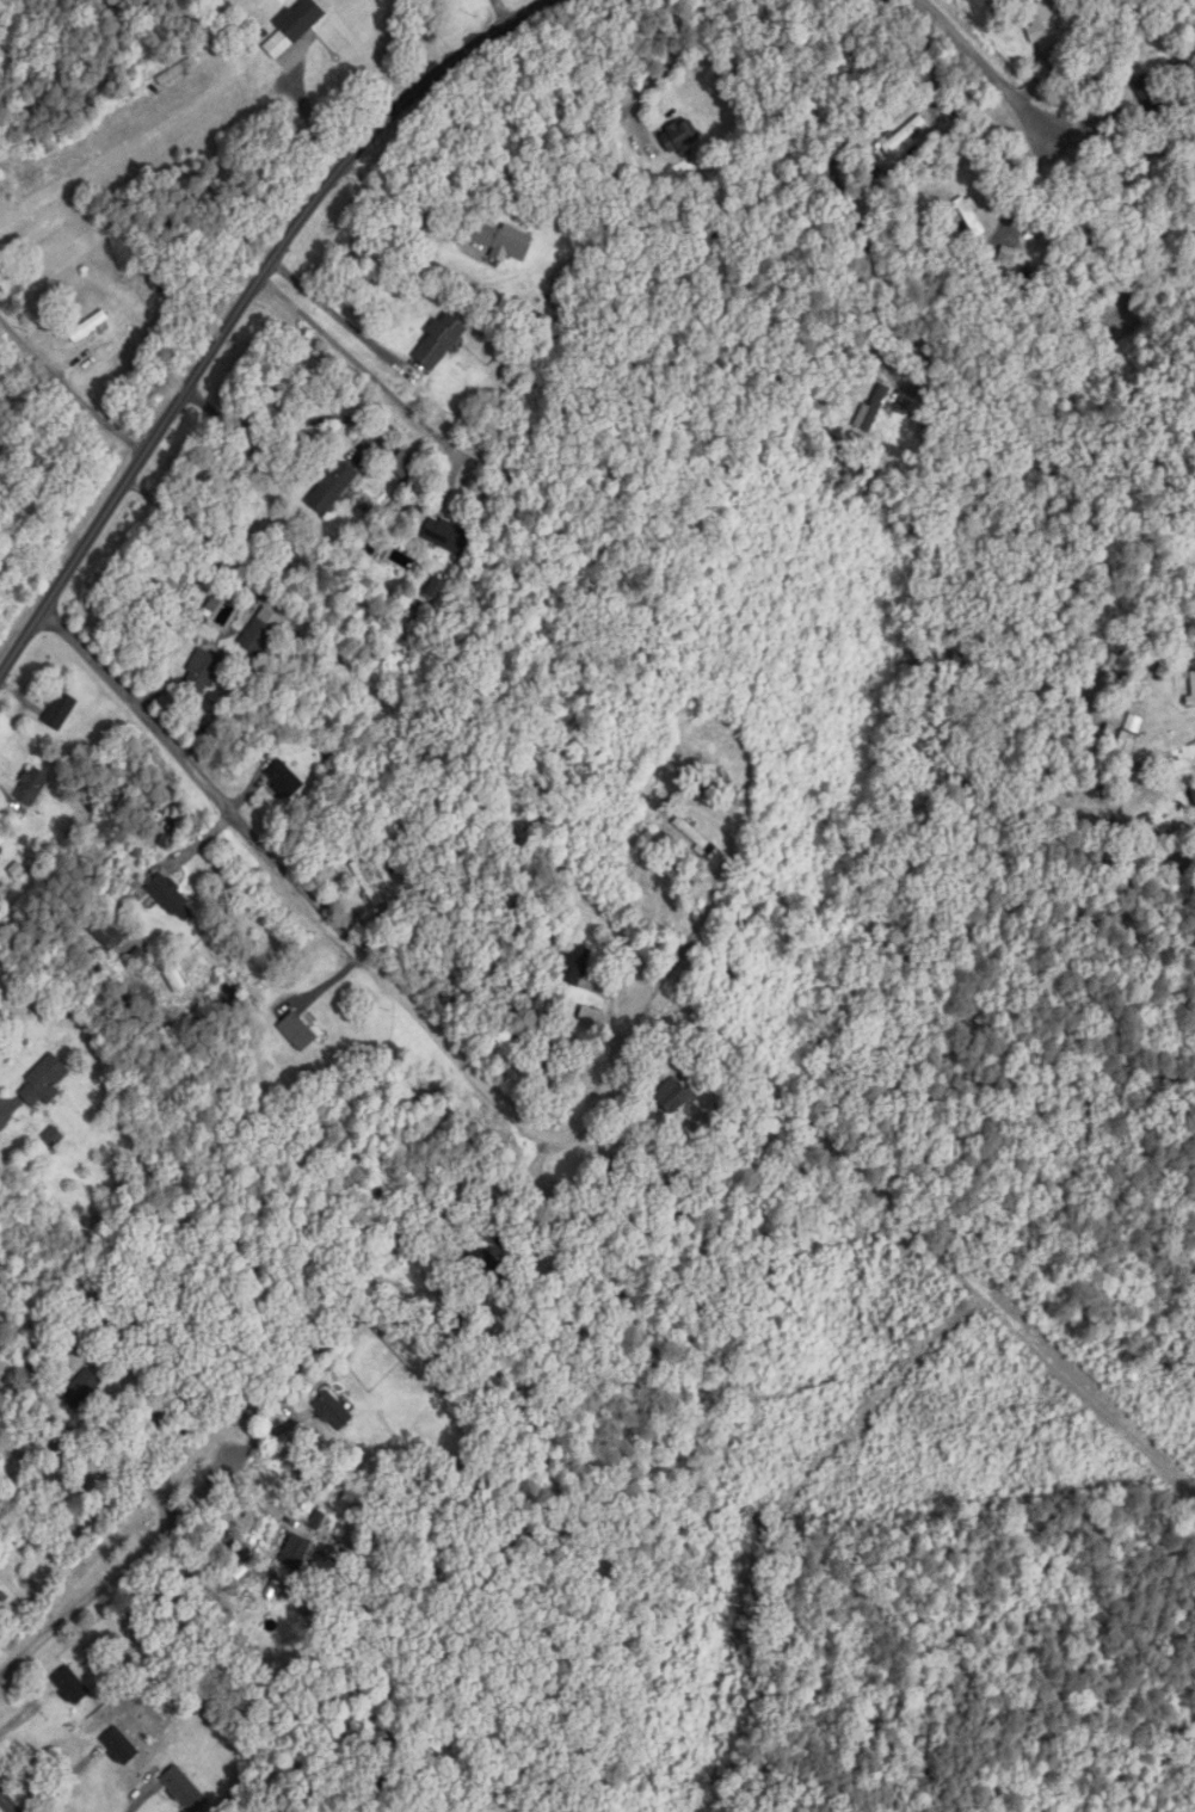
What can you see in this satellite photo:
road: (501, 13)
building: (1046, 25)
building: (295, 27)
road: (665, 70)
road: (992, 79)
building: (1152, 99)
building: (905, 136)
building: (679, 137)
road: (844, 197)
road: (398, 202)
building: (974, 217)
building: (505, 242)
building: (1006, 261)
road: (239, 309)
road: (334, 314)
building: (90, 327)
building: (439, 343)
road: (377, 381)
road: (70, 390)
road: (278, 426)
building: (404, 466)
building: (333, 489)
road: (196, 531)
building: (448, 536)
building: (261, 631)
building: (202, 672)
building: (1193, 690)
building: (60, 710)
building: (285, 779)
building: (700, 788)
building: (30, 791)
building: (1193, 795)
building: (696, 836)
building: (173, 899)
building: (105, 932)
road: (352, 949)
building: (575, 966)
building: (178, 979)
road: (991, 998)
building: (298, 1031)
building: (44, 1081)
building: (673, 1097)
road: (0, 1101)
building: (617, 1175)
road: (504, 1241)
building: (81, 1389)
building: (334, 1412)
road: (68, 1432)
building: (296, 1552)
road: (135, 1557)
building: (72, 1687)
building: (121, 1745)
building: (185, 1791)
road: (143, 1799)
road: (7, 1802)

